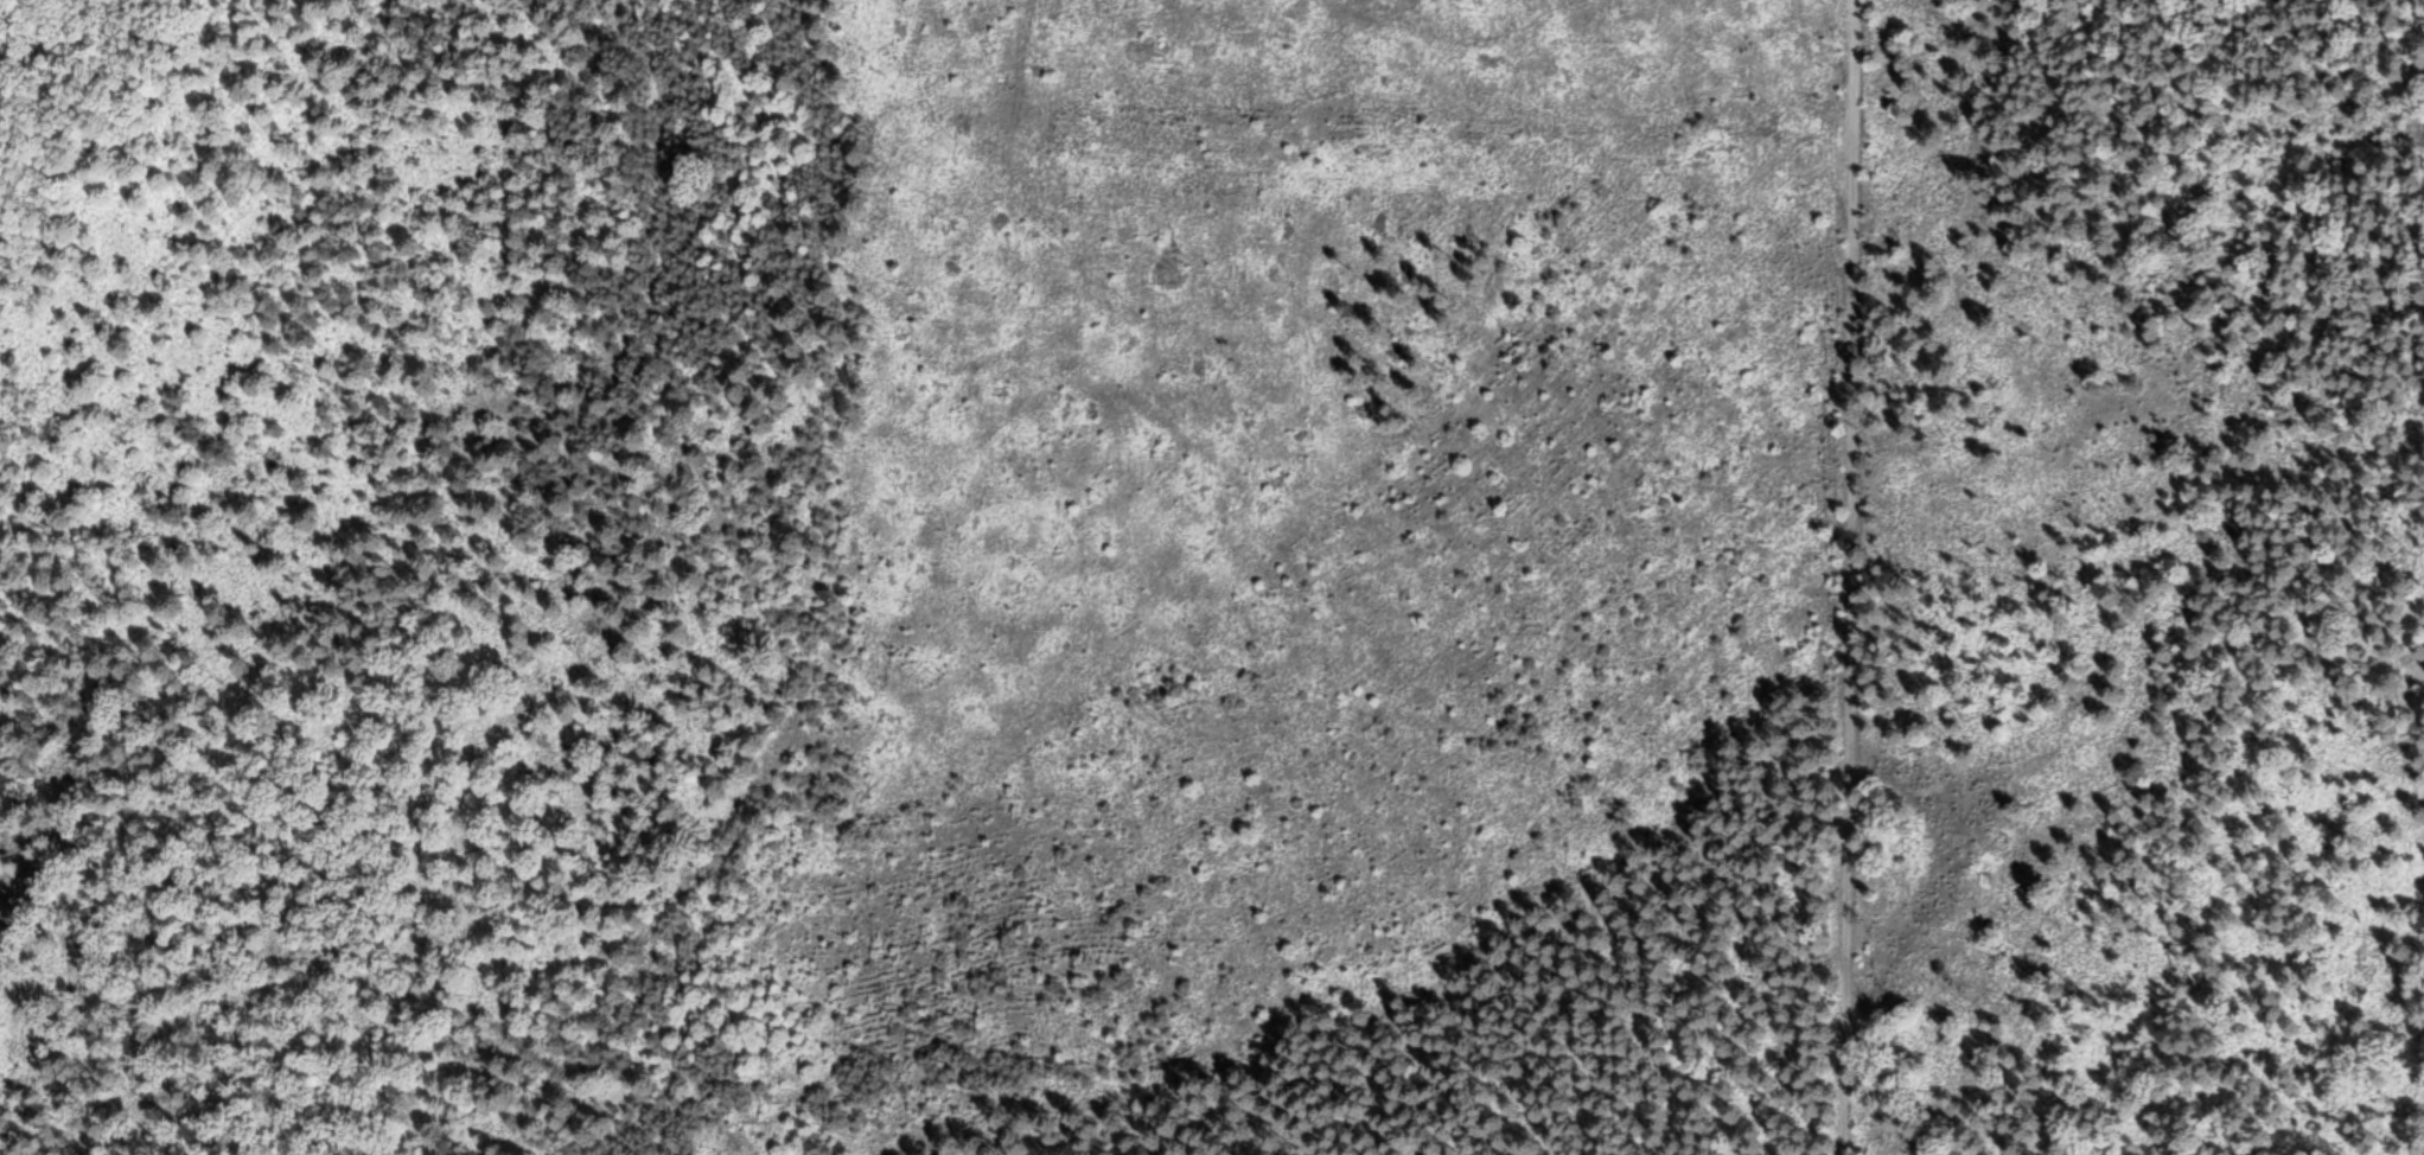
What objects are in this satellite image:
road: (709, 489)
road: (1850, 577)

